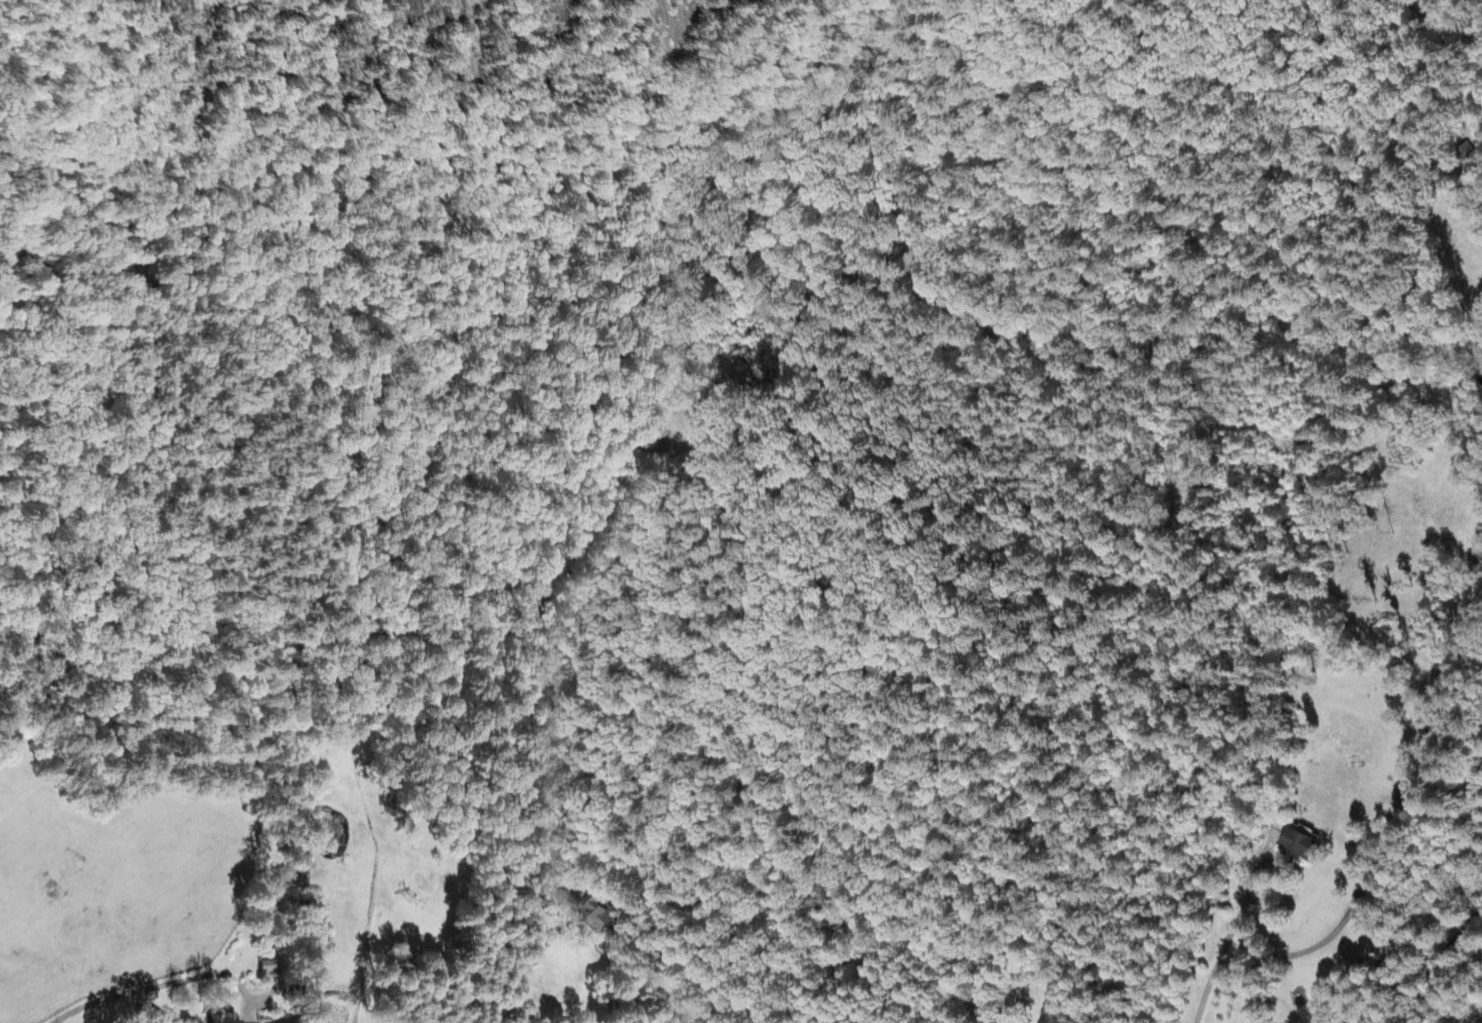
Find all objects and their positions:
building: (1466, 153)
road: (407, 637)
road: (1394, 818)
building: (1295, 846)
building: (597, 915)
road: (139, 995)
building: (223, 1019)

